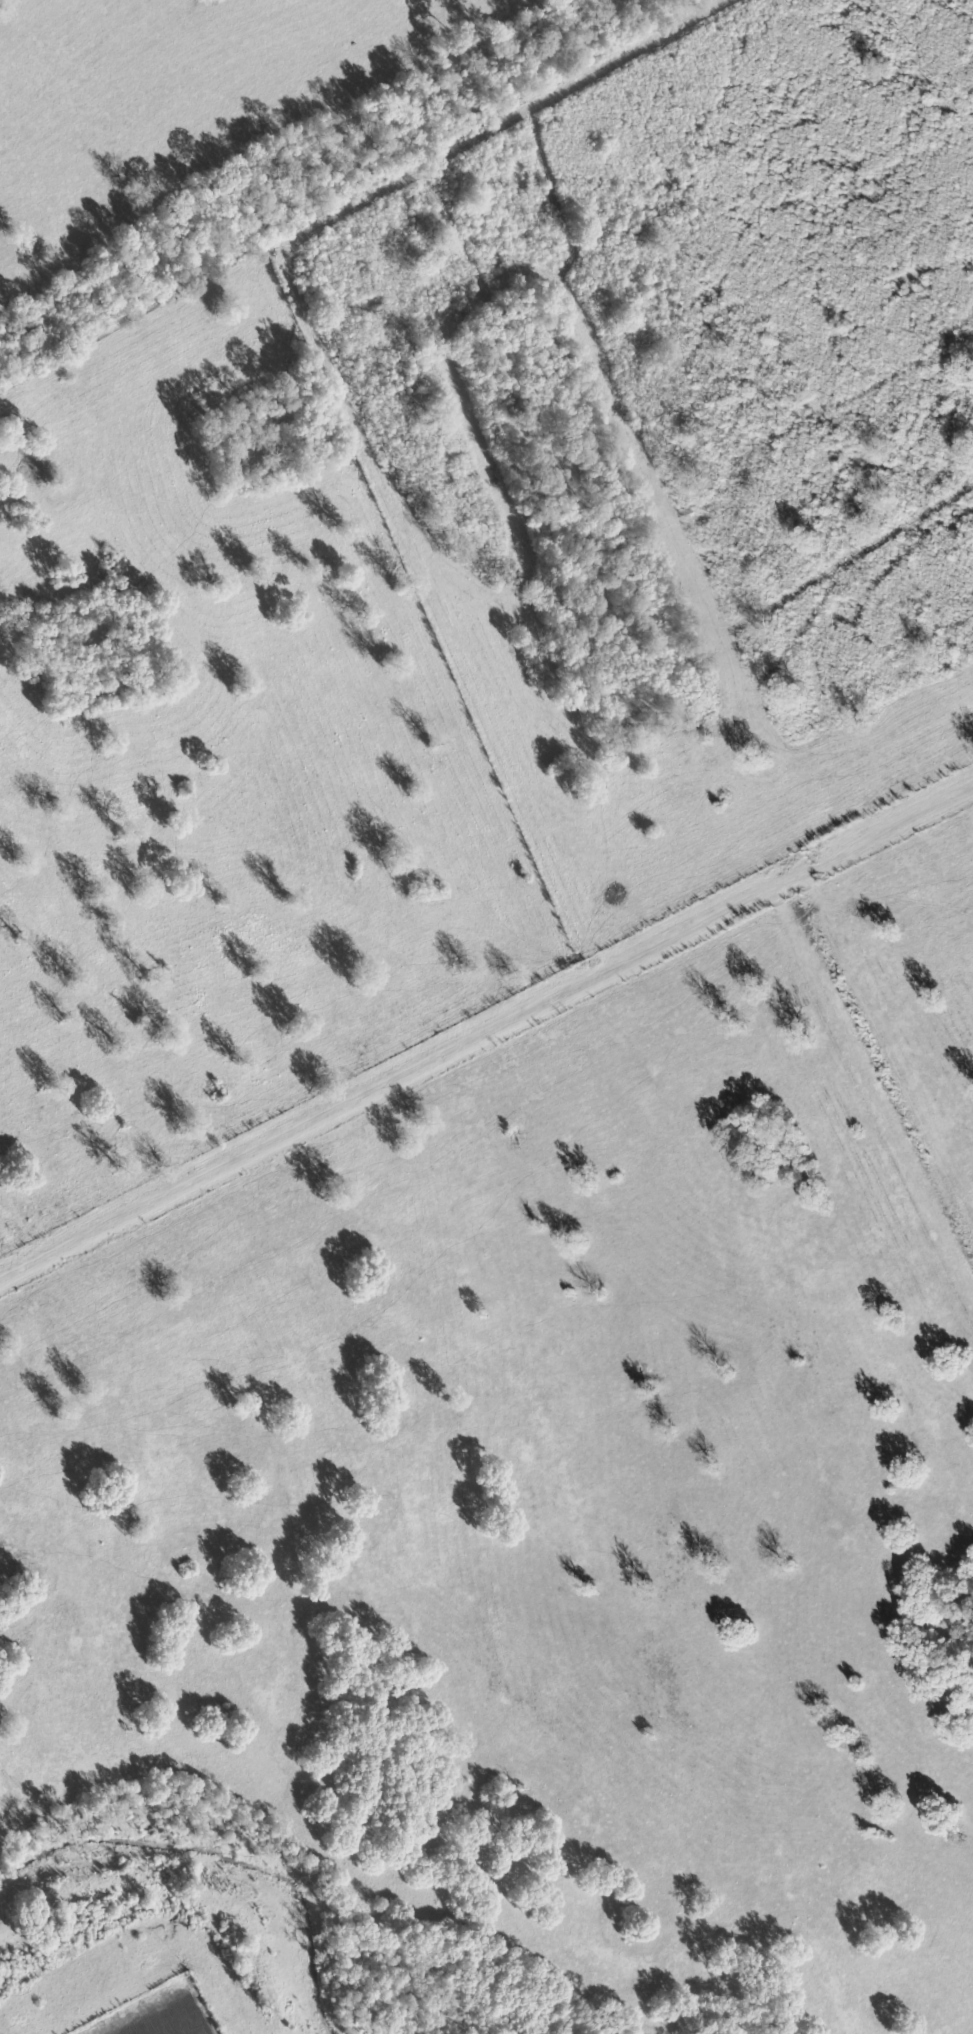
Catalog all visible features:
road: (486, 1033)

